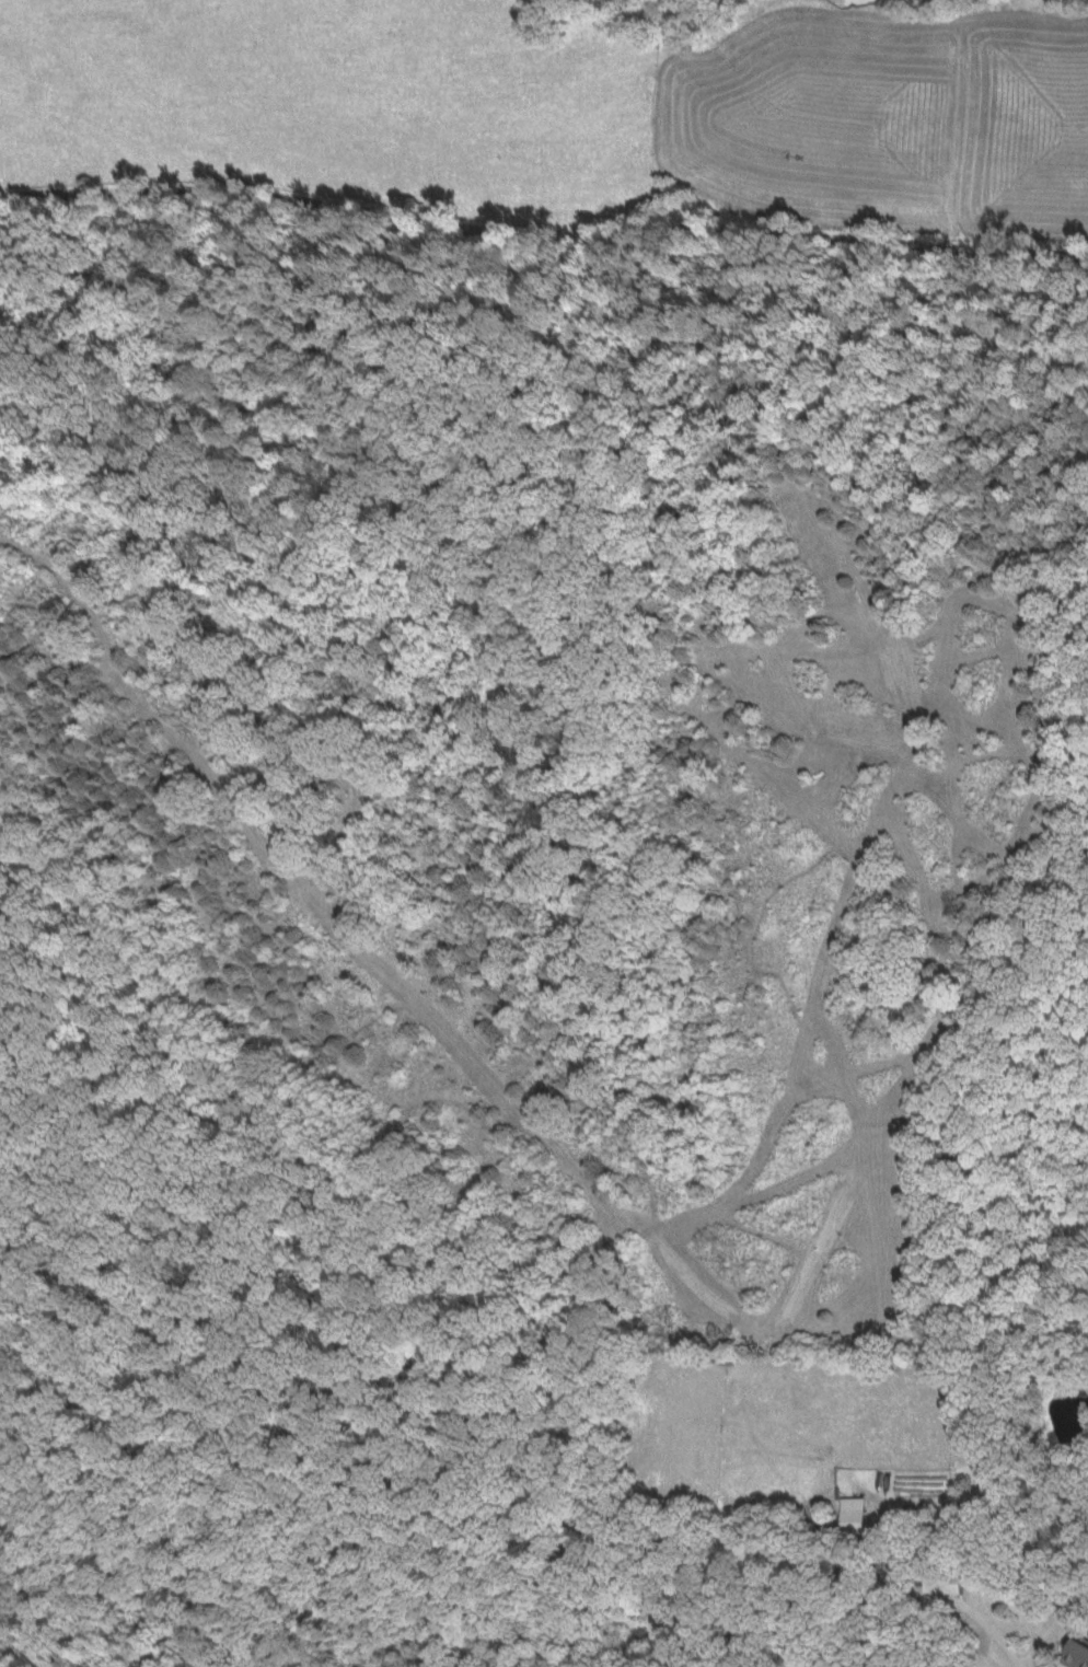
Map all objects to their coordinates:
building: (845, 1515)
building: (935, 1582)
road: (992, 1631)
building: (1070, 1655)

